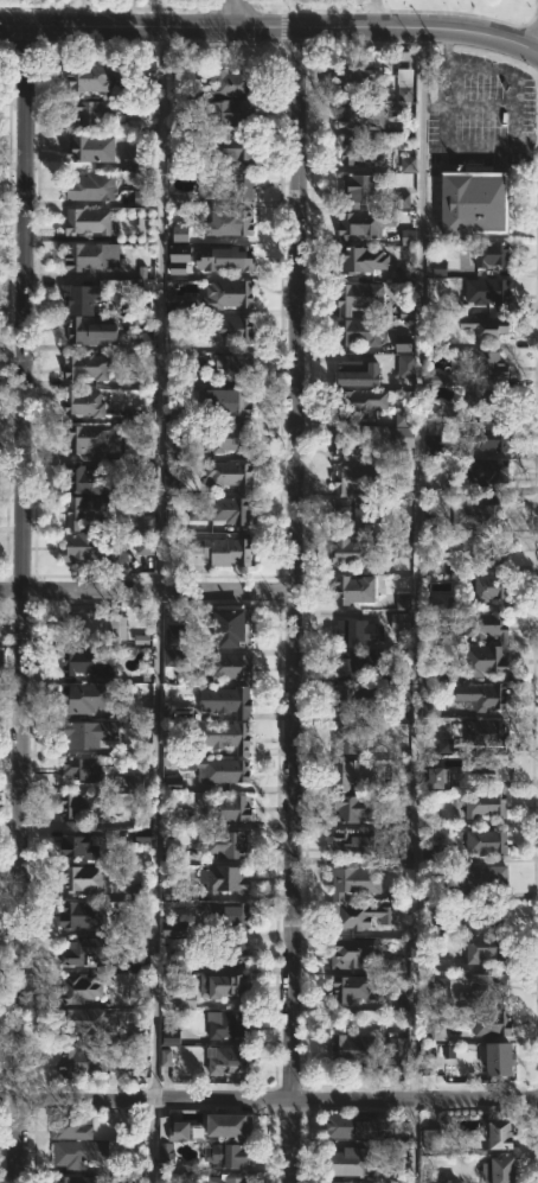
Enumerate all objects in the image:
road: (235, 13)
road: (371, 13)
road: (269, 27)
building: (94, 76)
building: (357, 79)
building: (233, 82)
building: (405, 83)
road: (513, 91)
building: (90, 110)
building: (230, 112)
building: (180, 115)
building: (363, 115)
road: (514, 134)
road: (457, 144)
building: (232, 147)
building: (89, 148)
building: (364, 150)
building: (141, 158)
building: (174, 160)
building: (406, 164)
building: (92, 186)
building: (229, 189)
building: (143, 197)
building: (178, 198)
building: (402, 199)
building: (478, 201)
road: (70, 203)
building: (352, 205)
building: (88, 220)
building: (229, 223)
building: (142, 225)
building: (180, 233)
building: (408, 236)
building: (492, 253)
building: (87, 255)
building: (226, 256)
building: (180, 257)
building: (364, 259)
building: (403, 273)
building: (489, 292)
building: (102, 293)
building: (229, 293)
building: (360, 297)
road: (159, 309)
building: (180, 324)
building: (489, 326)
building: (94, 329)
building: (231, 329)
building: (361, 330)
building: (146, 339)
building: (192, 362)
building: (489, 364)
building: (88, 365)
building: (236, 367)
building: (405, 367)
building: (359, 373)
building: (480, 396)
building: (365, 401)
building: (84, 402)
building: (229, 402)
building: (442, 413)
building: (487, 434)
building: (88, 438)
building: (229, 438)
building: (431, 443)
building: (352, 446)
building: (174, 449)
building: (140, 450)
building: (493, 470)
building: (231, 475)
building: (357, 478)
building: (84, 479)
building: (171, 484)
building: (232, 509)
building: (88, 510)
building: (363, 513)
building: (478, 515)
building: (146, 535)
building: (90, 546)
building: (399, 547)
building: (224, 549)
building: (357, 552)
building: (493, 552)
building: (492, 586)
building: (354, 589)
road: (147, 591)
building: (403, 600)
road: (20, 604)
road: (416, 604)
road: (295, 605)
building: (399, 622)
building: (486, 625)
building: (94, 628)
building: (232, 628)
building: (350, 632)
building: (172, 644)
building: (486, 660)
building: (84, 661)
building: (359, 663)
building: (232, 666)
building: (483, 695)
building: (85, 698)
building: (356, 698)
building: (229, 701)
building: (431, 707)
building: (399, 713)
building: (488, 732)
building: (94, 733)
building: (224, 736)
building: (347, 738)
building: (443, 745)
building: (83, 769)
building: (225, 770)
building: (481, 770)
building: (353, 774)
building: (437, 777)
building: (173, 783)
building: (483, 803)
building: (85, 804)
building: (226, 808)
building: (353, 808)
building: (185, 820)
building: (402, 827)
building: (487, 842)
building: (225, 844)
building: (356, 844)
road: (155, 845)
building: (82, 846)
building: (398, 861)
building: (224, 877)
building: (488, 878)
building: (83, 879)
building: (356, 882)
building: (83, 915)
building: (228, 916)
building: (360, 916)
building: (470, 918)
building: (130, 929)
building: (173, 930)
building: (488, 948)
building: (84, 949)
building: (351, 952)
building: (228, 953)
building: (396, 966)
building: (437, 985)
building: (229, 987)
building: (81, 988)
building: (354, 988)
building: (489, 988)
building: (186, 999)
building: (402, 1001)
building: (88, 1022)
building: (493, 1023)
building: (229, 1024)
building: (434, 1033)
building: (171, 1037)
building: (397, 1048)
building: (352, 1049)
building: (165, 1057)
building: (228, 1061)
building: (501, 1061)
building: (81, 1062)
building: (466, 1066)
building: (136, 1071)
road: (268, 1100)
building: (229, 1124)
building: (344, 1124)
building: (71, 1126)
building: (504, 1132)
building: (169, 1137)
building: (431, 1139)
road: (150, 1141)
building: (78, 1153)
building: (231, 1155)
building: (348, 1160)
building: (500, 1169)
building: (226, 1178)
building: (73, 1179)
building: (352, 1182)
building: (453, 1182)

